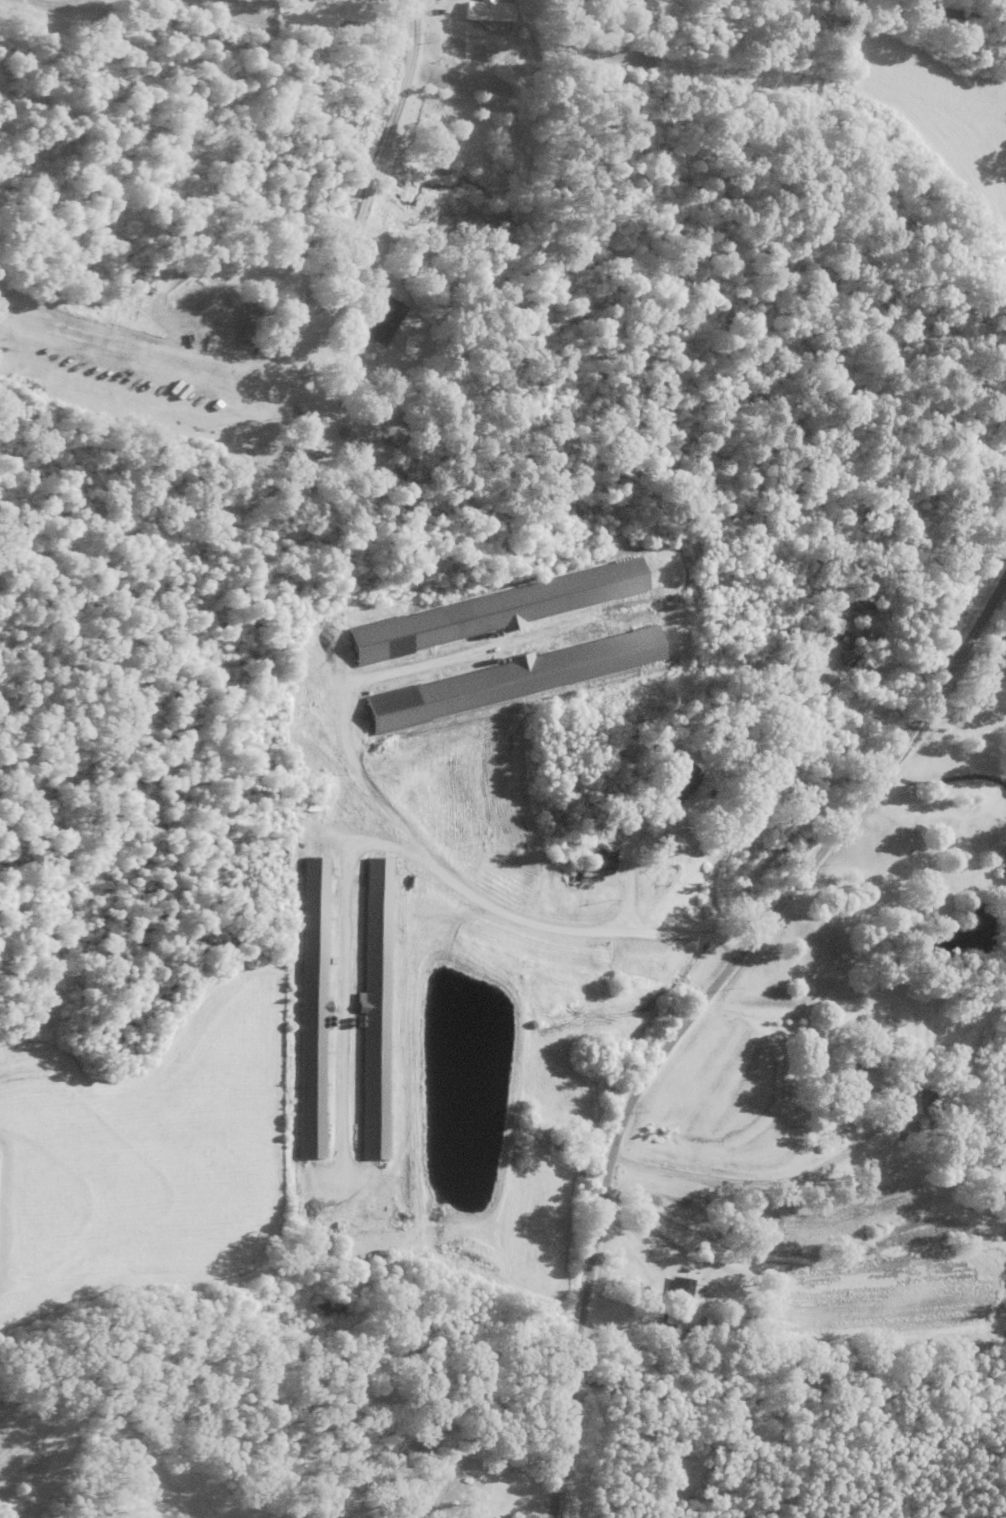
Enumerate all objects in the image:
building: (560, 7)
building: (477, 12)
road: (929, 12)
building: (376, 321)
building: (243, 324)
building: (359, 454)
building: (839, 626)
building: (671, 783)
building: (596, 862)
building: (1000, 869)
road: (693, 1006)
building: (309, 1008)
building: (371, 1010)
building: (854, 1078)
building: (917, 1099)
road: (757, 1181)
building: (673, 1293)
road: (8, 1500)

